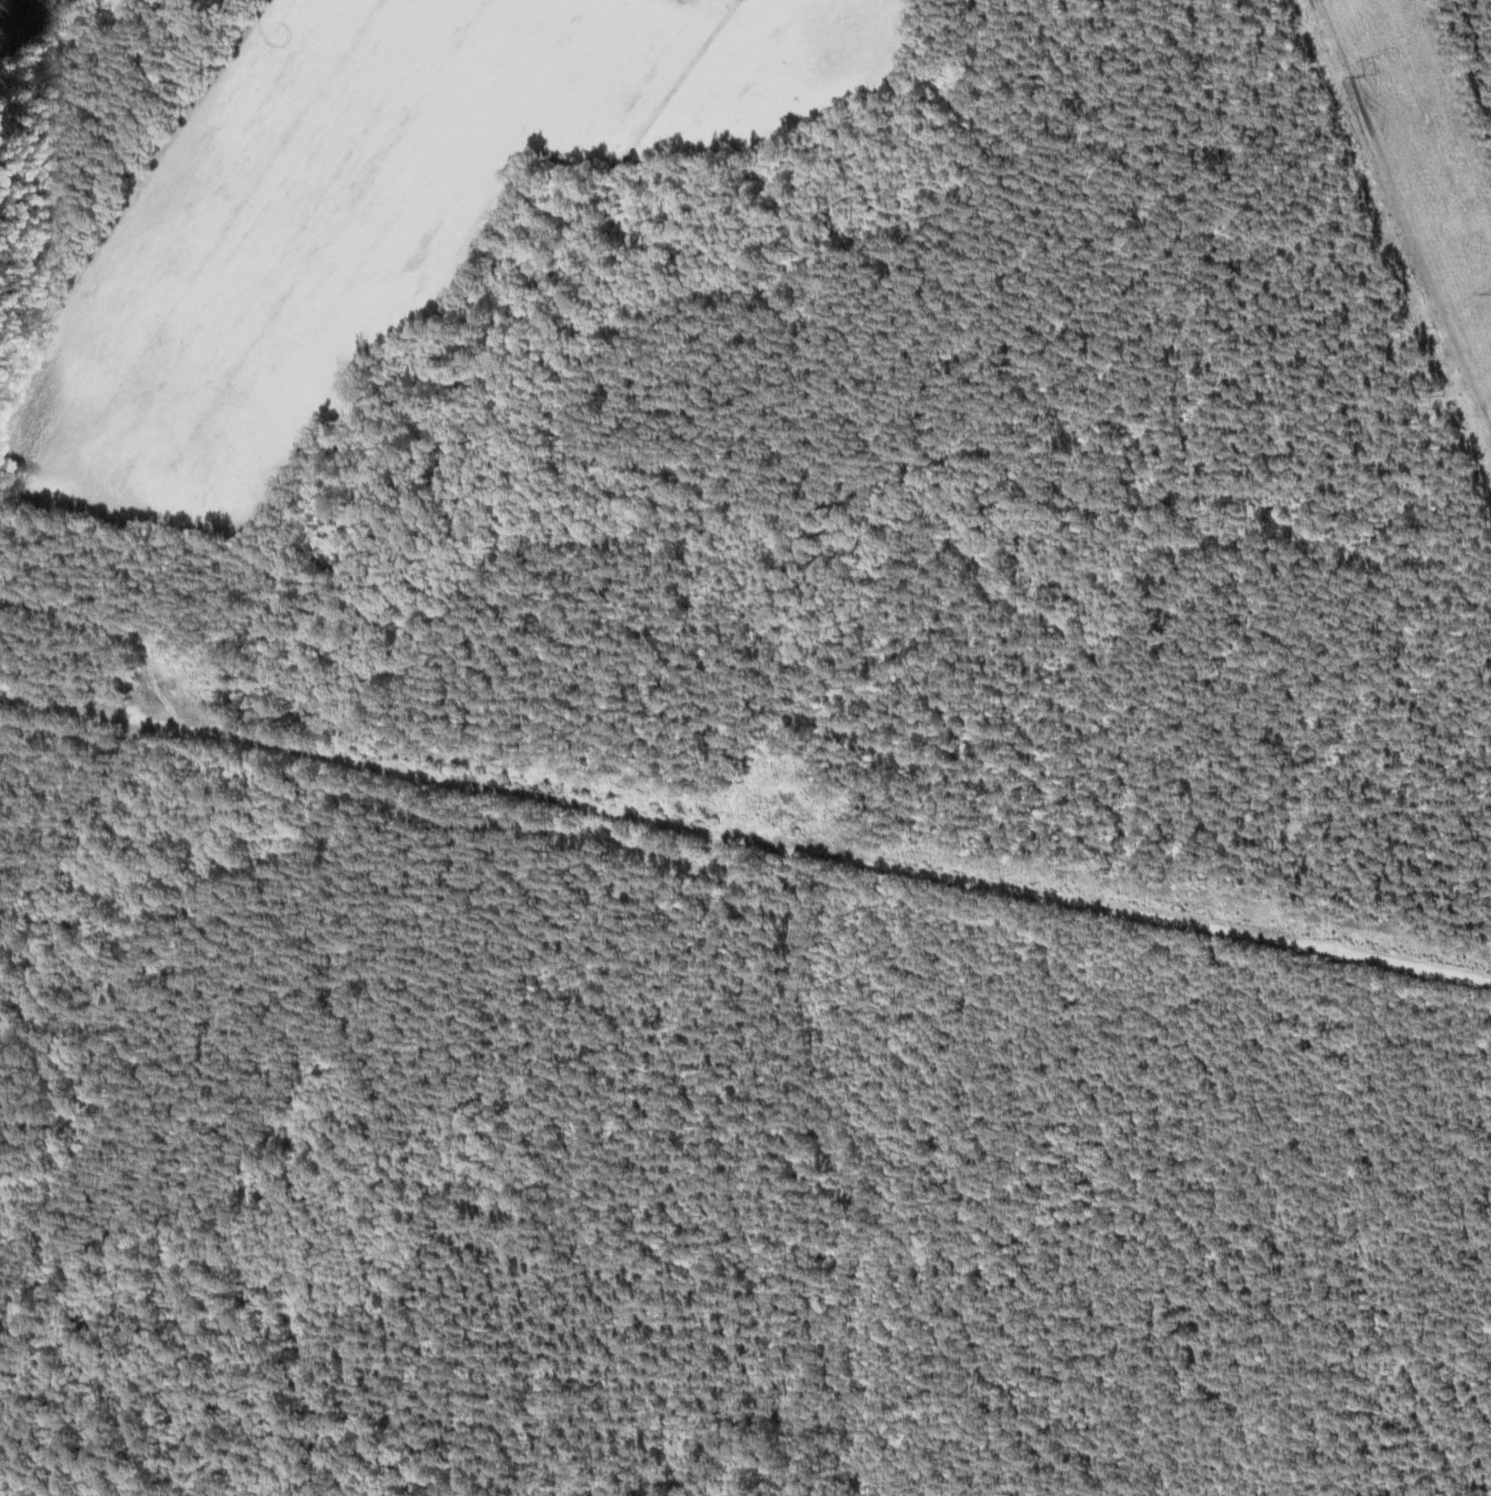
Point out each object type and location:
power tower: (1367, 72)
road: (476, 782)
road: (1222, 922)

